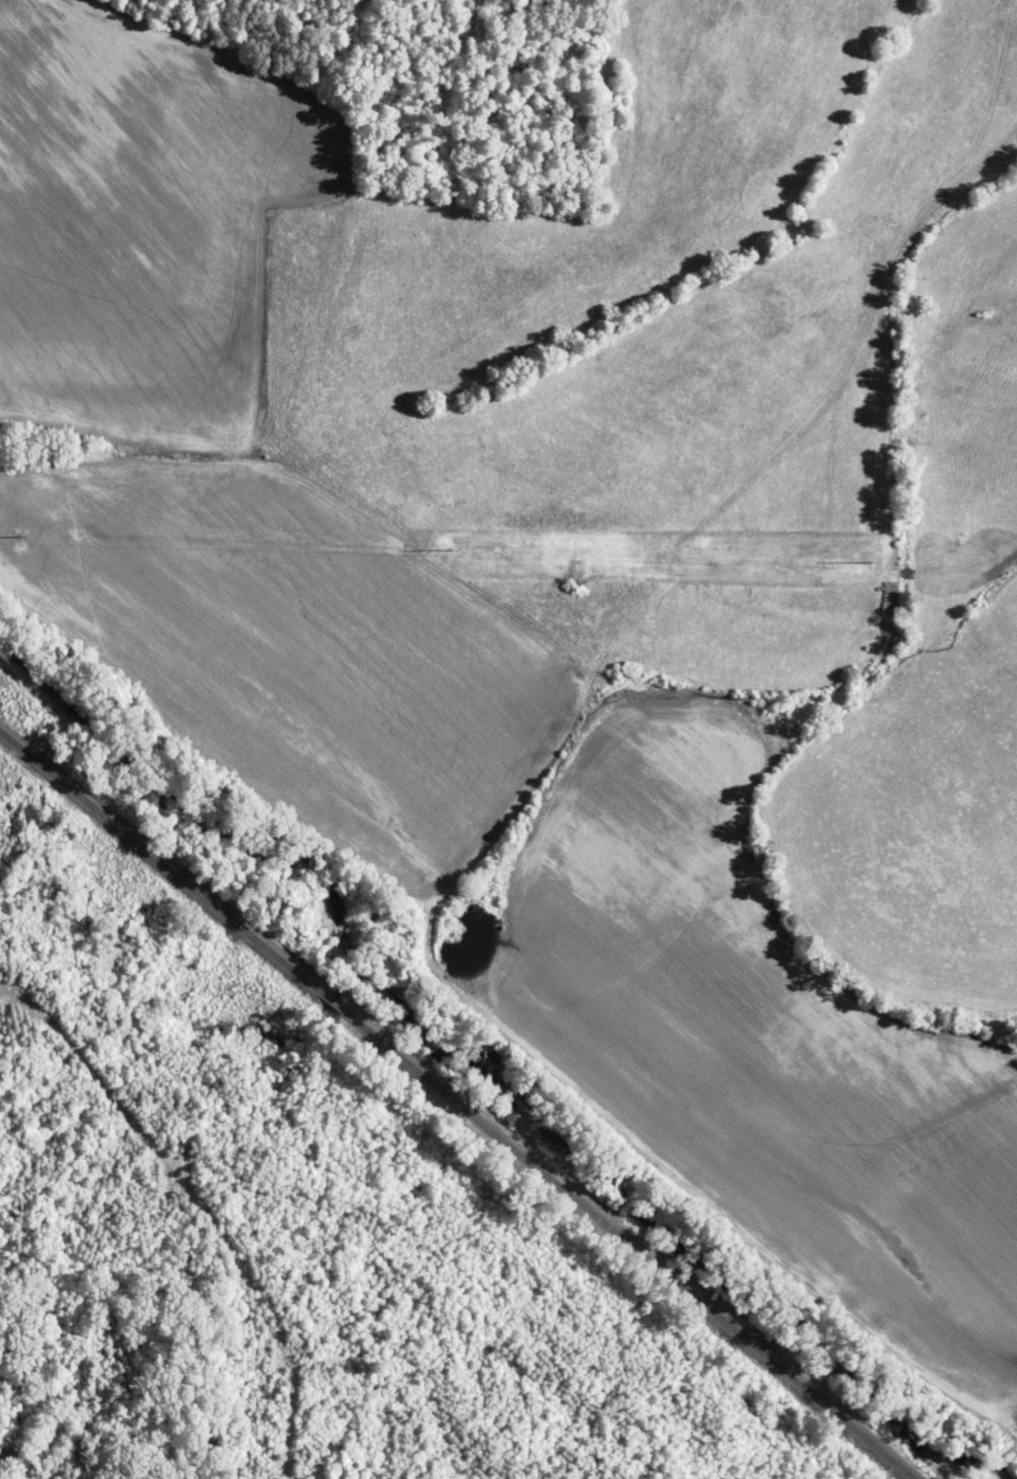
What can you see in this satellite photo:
railway: (459, 1101)

